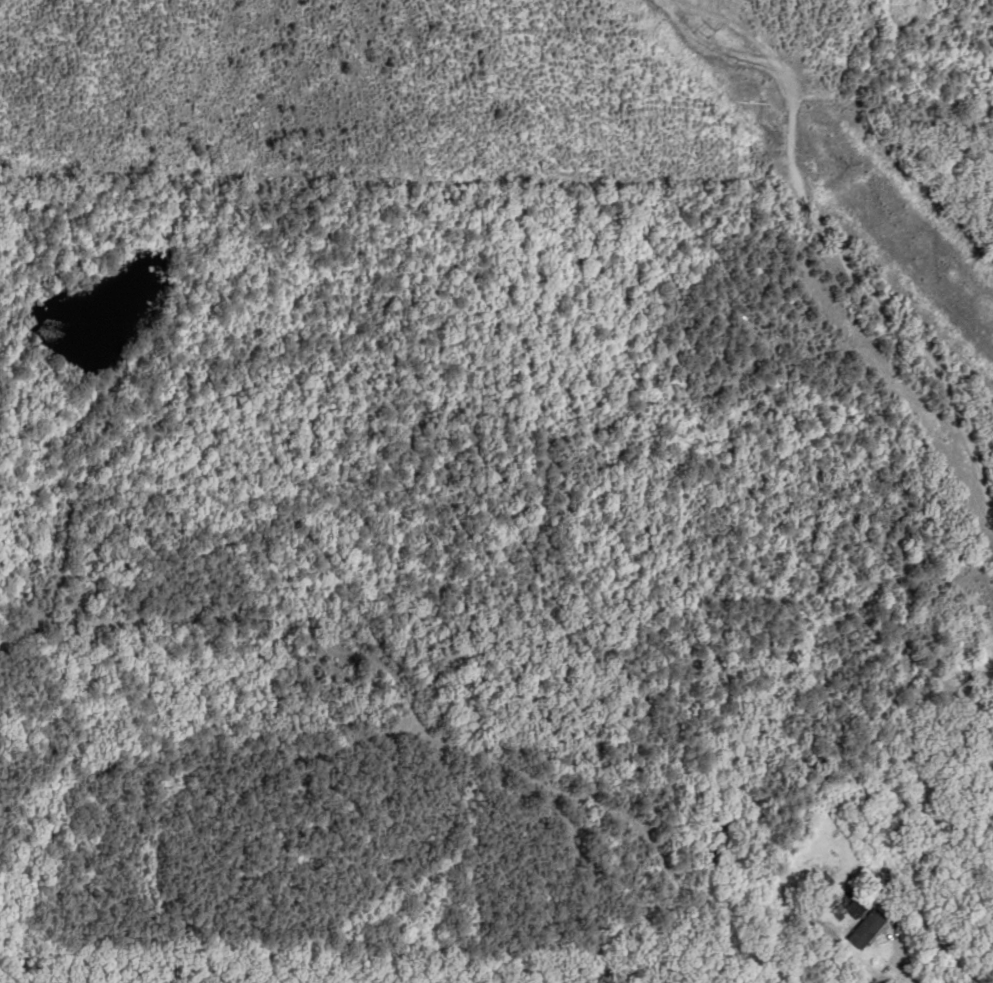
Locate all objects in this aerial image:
building: (989, 599)
road: (907, 906)
building: (869, 928)

